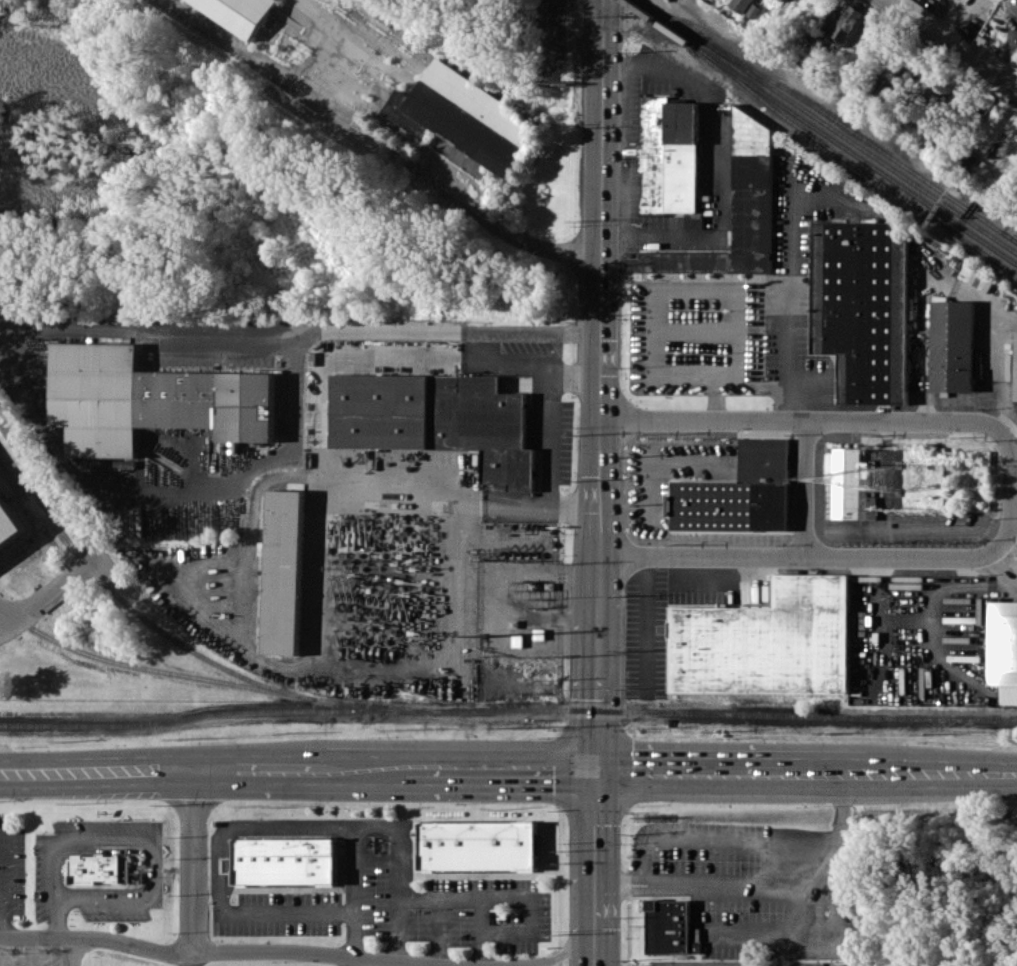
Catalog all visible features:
building: (784, 0)
building: (740, 4)
building: (753, 10)
building: (239, 13)
building: (846, 25)
road: (949, 45)
building: (465, 116)
railway: (830, 125)
railway: (821, 132)
railway: (859, 135)
road: (381, 143)
building: (669, 155)
railway: (853, 165)
road: (722, 169)
building: (737, 210)
building: (694, 220)
railway: (1009, 235)
building: (977, 277)
road: (601, 295)
building: (863, 307)
road: (447, 329)
road: (149, 337)
building: (954, 345)
building: (1015, 368)
building: (150, 399)
road: (545, 413)
building: (437, 419)
road: (803, 425)
building: (128, 462)
building: (846, 480)
road: (810, 486)
road: (174, 487)
road: (1008, 490)
building: (739, 492)
road: (460, 504)
building: (9, 523)
road: (84, 537)
road: (796, 546)
road: (1003, 564)
building: (284, 572)
railway: (131, 607)
road: (647, 620)
building: (767, 641)
building: (1003, 649)
railway: (197, 677)
road: (597, 679)
railway: (712, 712)
railway: (203, 715)
road: (365, 768)
road: (501, 768)
traffic signals: (596, 768)
road: (280, 770)
road: (215, 771)
road: (688, 771)
road: (97, 772)
road: (812, 774)
road: (855, 774)
road: (941, 774)
road: (841, 809)
road: (341, 824)
road: (686, 837)
road: (144, 840)
road: (800, 842)
building: (478, 845)
building: (285, 860)
road: (373, 861)
road: (193, 862)
road: (596, 867)
building: (99, 869)
road: (634, 877)
road: (212, 881)
road: (607, 881)
road: (751, 883)
road: (1, 884)
road: (634, 887)
road: (353, 890)
road: (502, 898)
road: (394, 909)
road: (54, 922)
road: (771, 926)
building: (670, 927)
road: (437, 929)
road: (480, 931)
road: (780, 946)
road: (247, 950)
road: (30, 951)
road: (71, 951)
road: (557, 956)
road: (192, 959)
road: (352, 960)
road: (398, 962)
road: (442, 964)
road: (486, 965)

